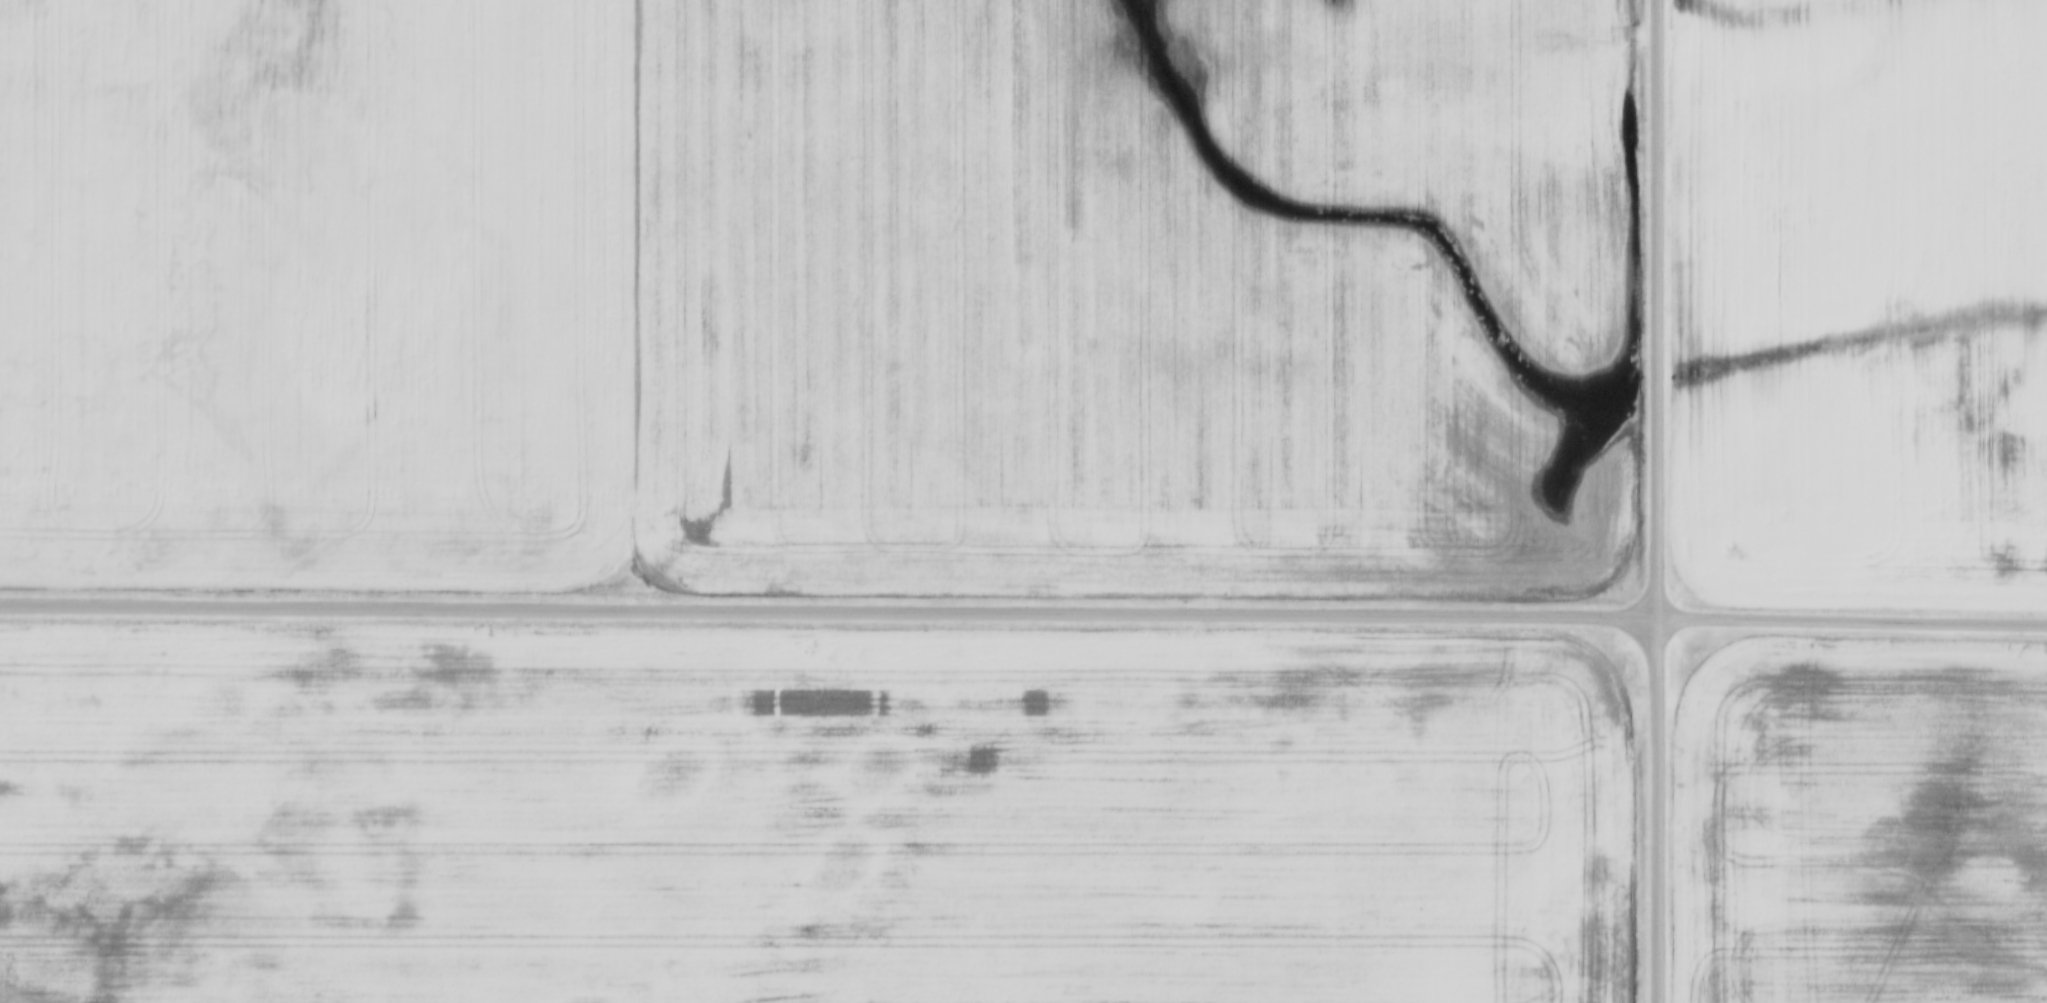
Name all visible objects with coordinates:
road: (1661, 501)
road: (1023, 613)

